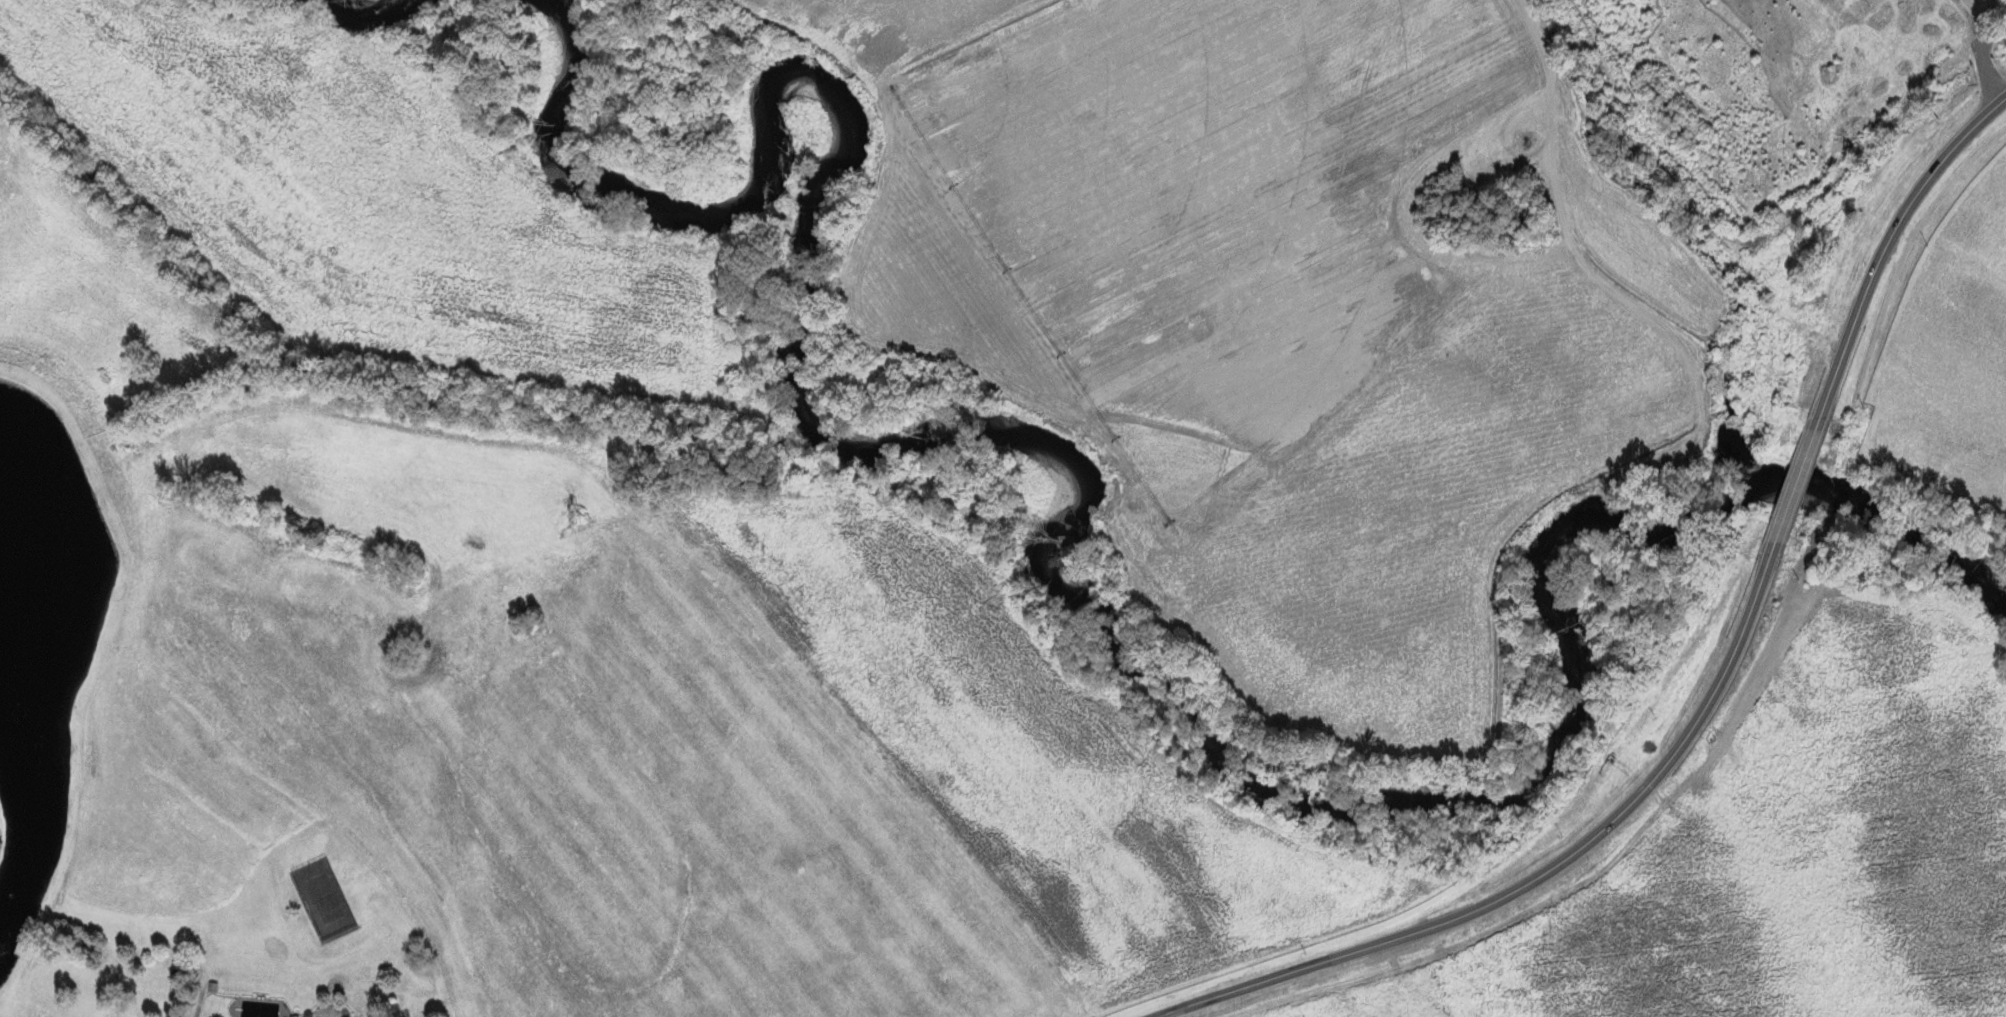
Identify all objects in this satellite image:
road: (1990, 26)
road: (1983, 49)
road: (1888, 250)
road: (1796, 487)
river: (1061, 582)
road: (1542, 874)
building: (180, 984)
road: (201, 997)

